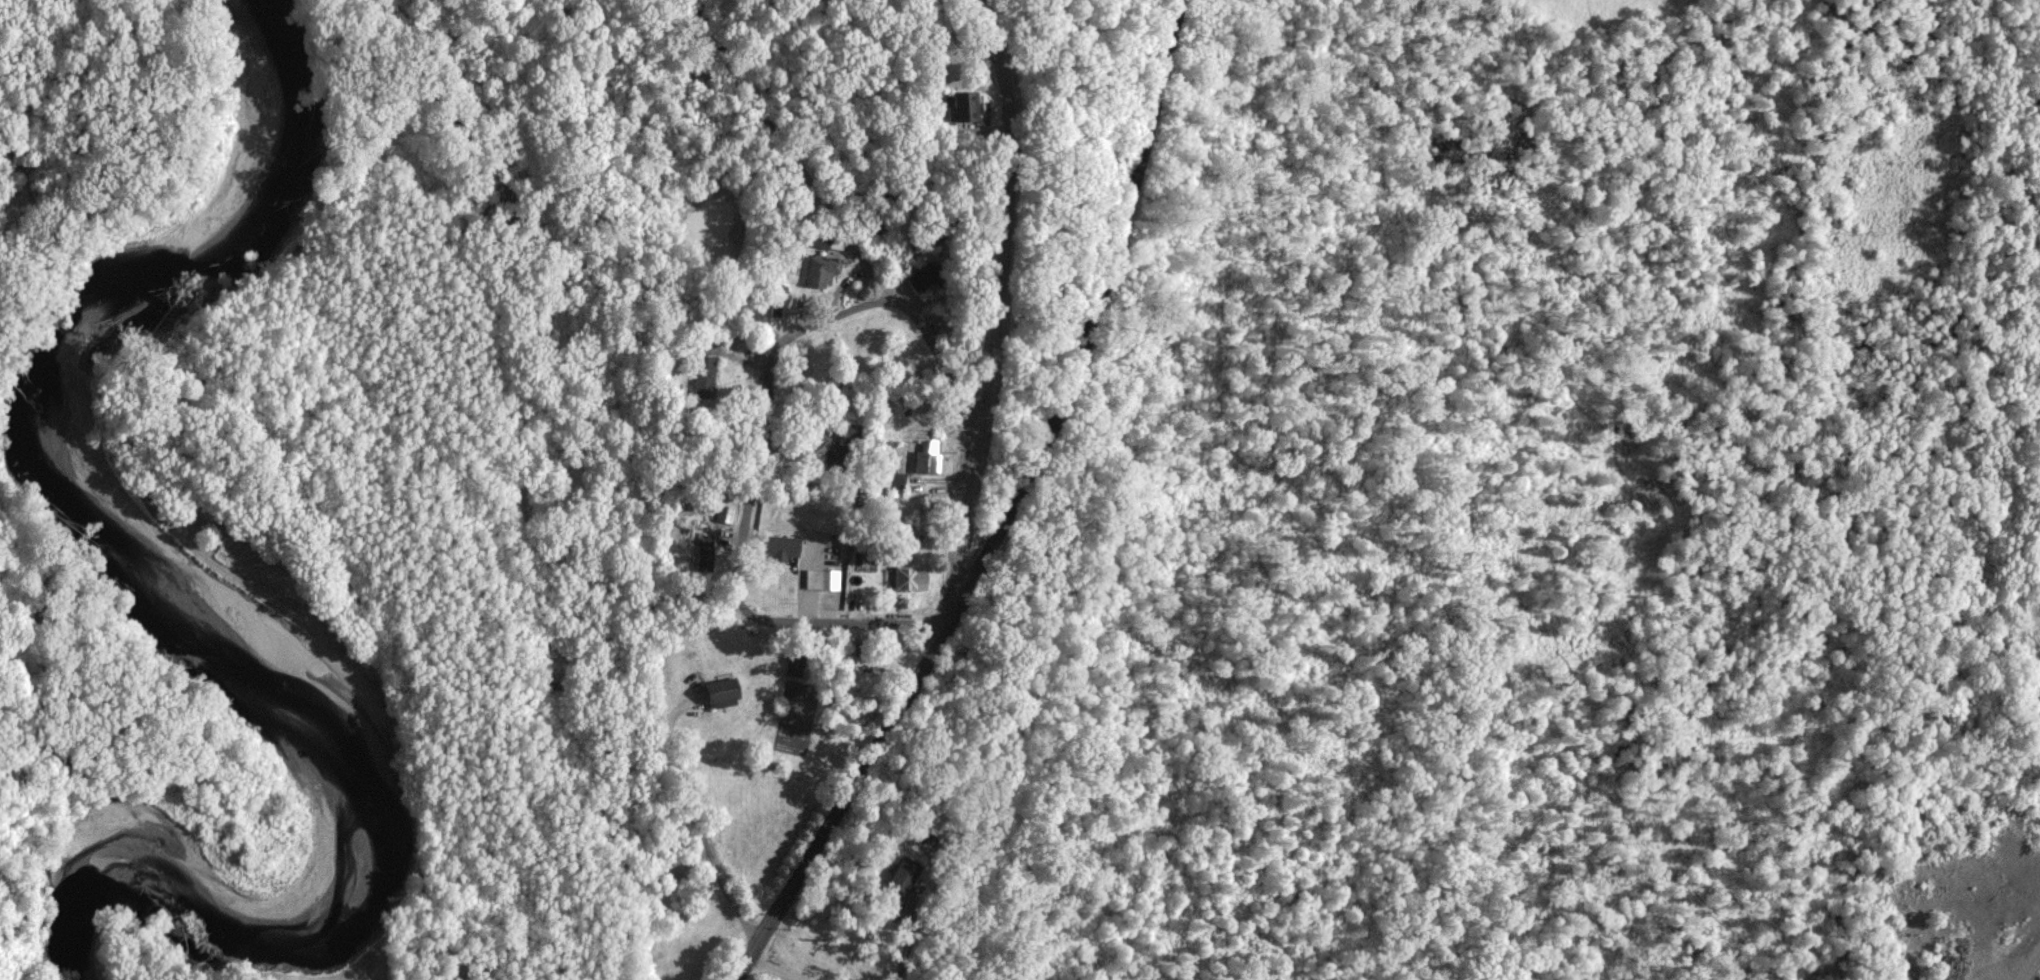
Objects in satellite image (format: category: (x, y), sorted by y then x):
building: (956, 109)
road: (828, 223)
building: (818, 269)
road: (996, 300)
road: (1100, 313)
building: (703, 375)
building: (927, 457)
building: (722, 513)
road: (746, 513)
building: (776, 547)
building: (906, 578)
building: (819, 579)
river: (197, 619)
building: (715, 692)
road: (856, 795)
road: (709, 848)
building: (904, 873)
road: (1981, 910)

